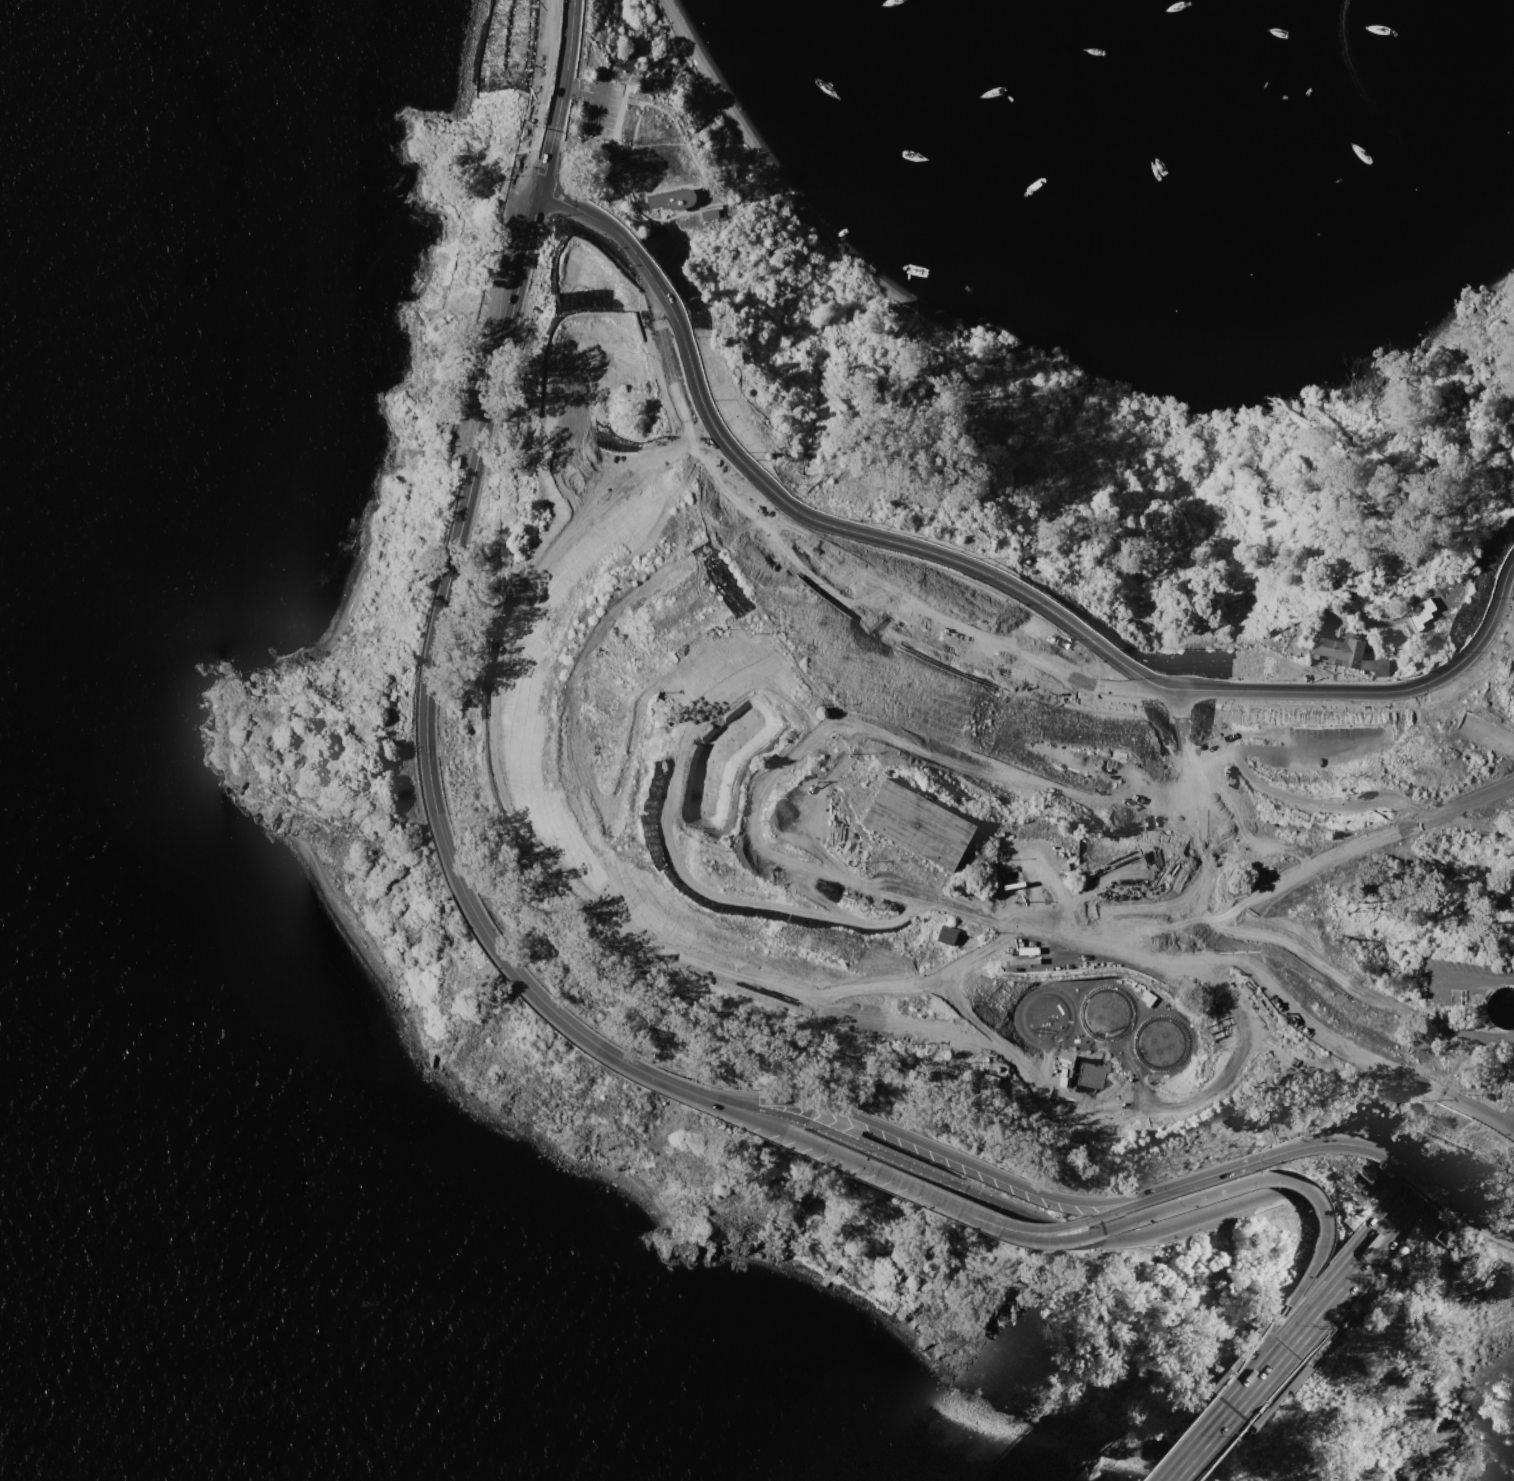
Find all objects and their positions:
road: (588, 90)
road: (541, 93)
road: (671, 117)
road: (629, 174)
building: (669, 200)
building: (706, 215)
road: (471, 466)
road: (972, 569)
road: (937, 650)
building: (1352, 653)
road: (1359, 729)
building: (916, 824)
road: (1367, 841)
road: (688, 871)
road: (834, 873)
road: (615, 916)
road: (489, 934)
building: (948, 936)
road: (1191, 959)
building: (1500, 1008)
storage tank: (1500, 1008)
building: (1106, 1012)
storage tank: (1106, 1012)
building: (1045, 1016)
storage tank: (1045, 1016)
building: (939, 1032)
building: (1161, 1043)
storage tank: (1161, 1043)
road: (647, 1076)
building: (994, 1085)
road: (686, 1088)
road: (792, 1100)
road: (721, 1105)
road: (758, 1107)
road: (1510, 1122)
road: (1510, 1130)
road: (882, 1155)
road: (860, 1159)
road: (1398, 1164)
road: (1231, 1167)
building: (1379, 1169)
road: (1028, 1185)
road: (1219, 1191)
road: (1140, 1197)
road: (1009, 1217)
road: (1179, 1218)
building: (1440, 1220)
road: (1035, 1234)
building: (829, 1273)
road: (1298, 1292)
road: (1316, 1297)
road: (1329, 1298)
road: (1280, 1342)
road: (1248, 1404)
road: (1194, 1439)
road: (1213, 1445)

